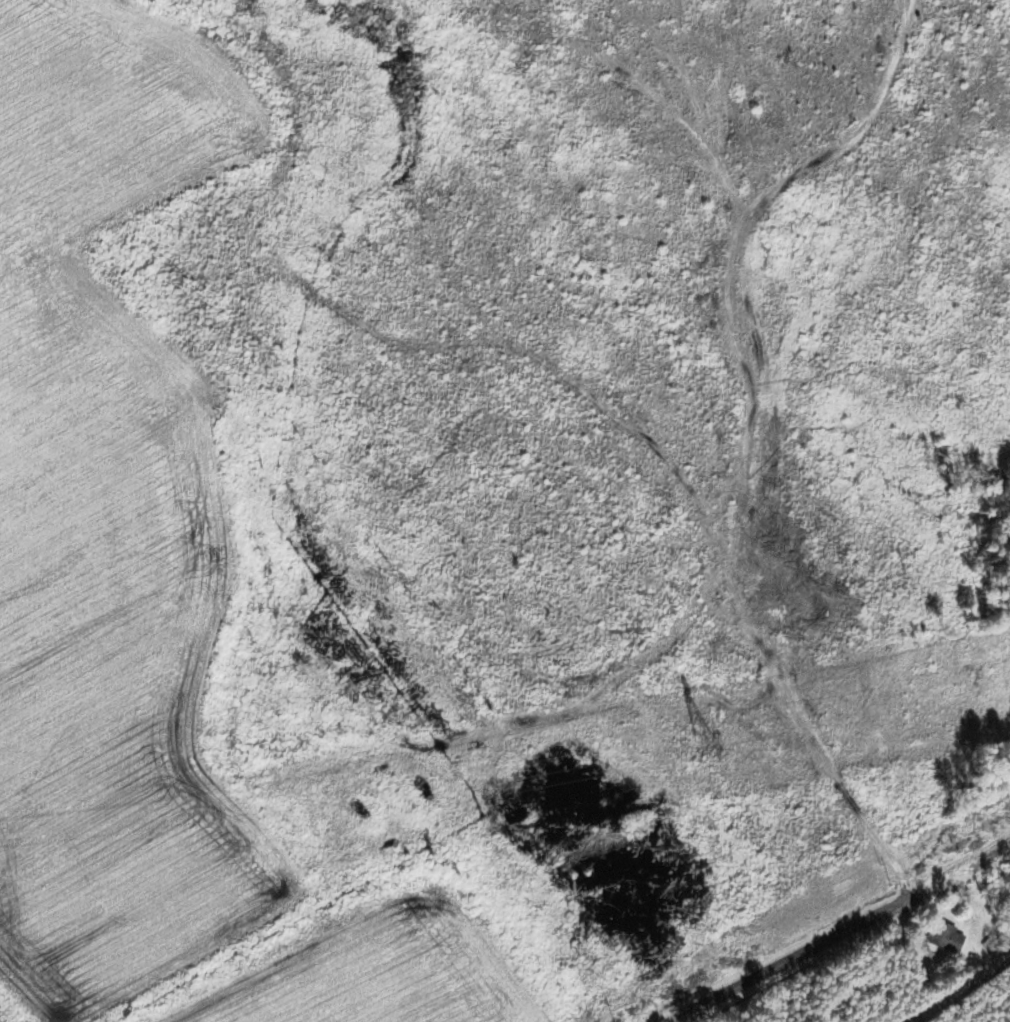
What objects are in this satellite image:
power tower: (700, 744)
building: (944, 937)
road: (776, 979)

